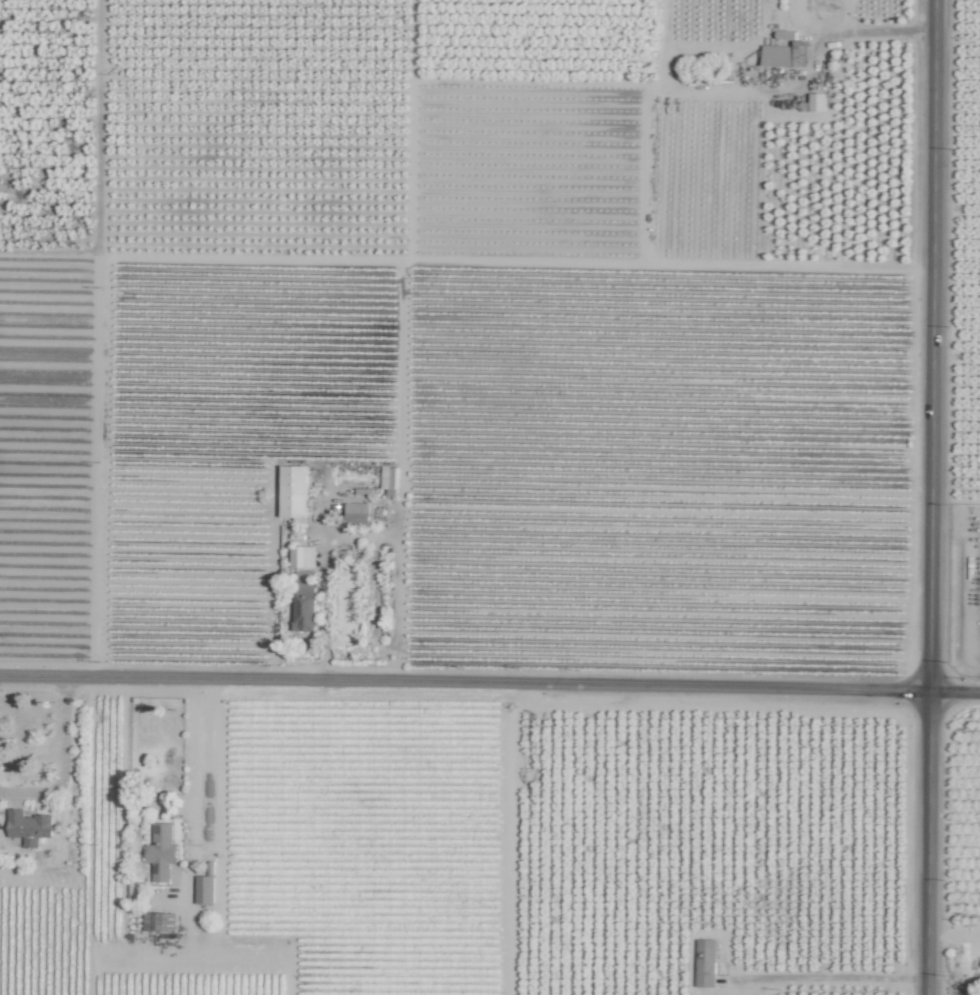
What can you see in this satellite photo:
building: (812, 9)
road: (877, 32)
building: (784, 55)
building: (816, 102)
building: (387, 477)
building: (293, 492)
road: (932, 497)
building: (356, 513)
road: (956, 519)
building: (302, 557)
building: (304, 600)
road: (489, 683)
road: (64, 761)
road: (207, 763)
building: (28, 827)
building: (161, 852)
building: (204, 889)
building: (158, 921)
road: (954, 934)
building: (705, 962)
road: (833, 979)

